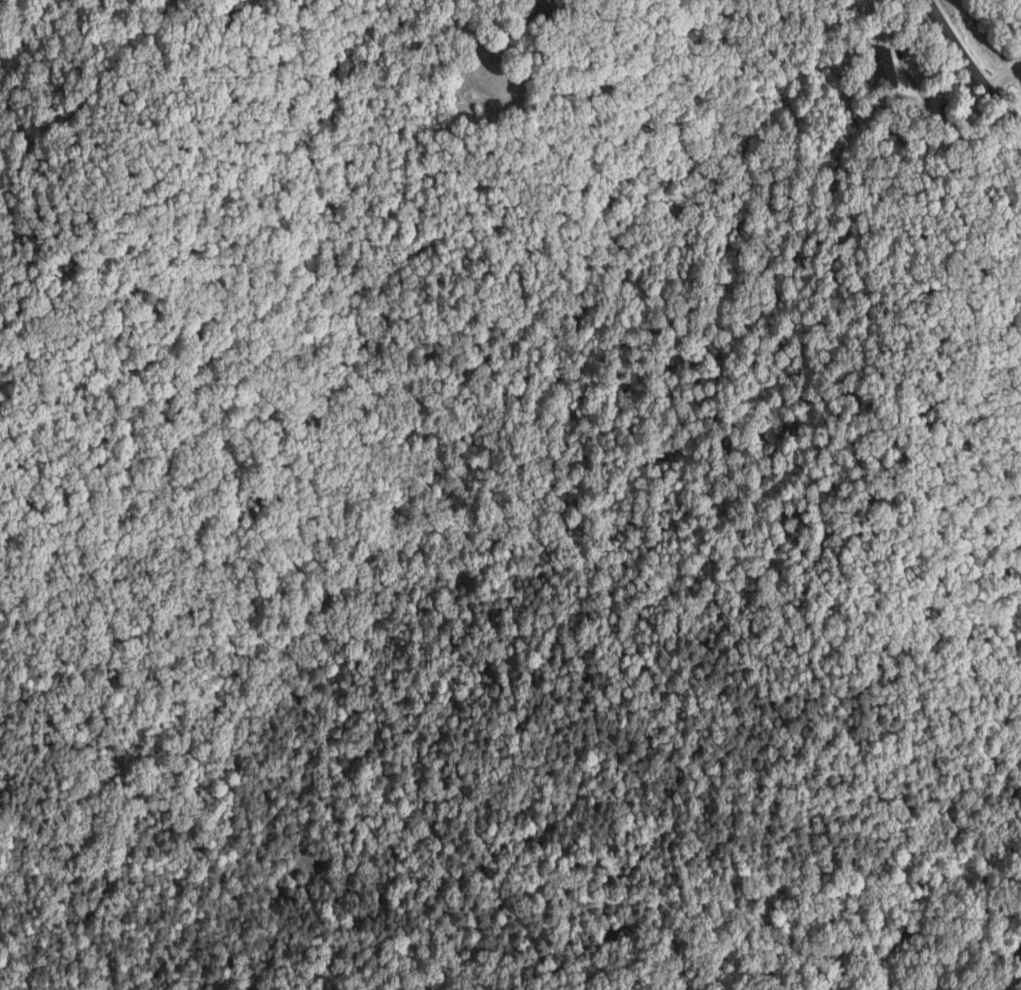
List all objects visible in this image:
building: (548, 9)
road: (970, 64)
building: (883, 66)
road: (1017, 75)
road: (1003, 77)

